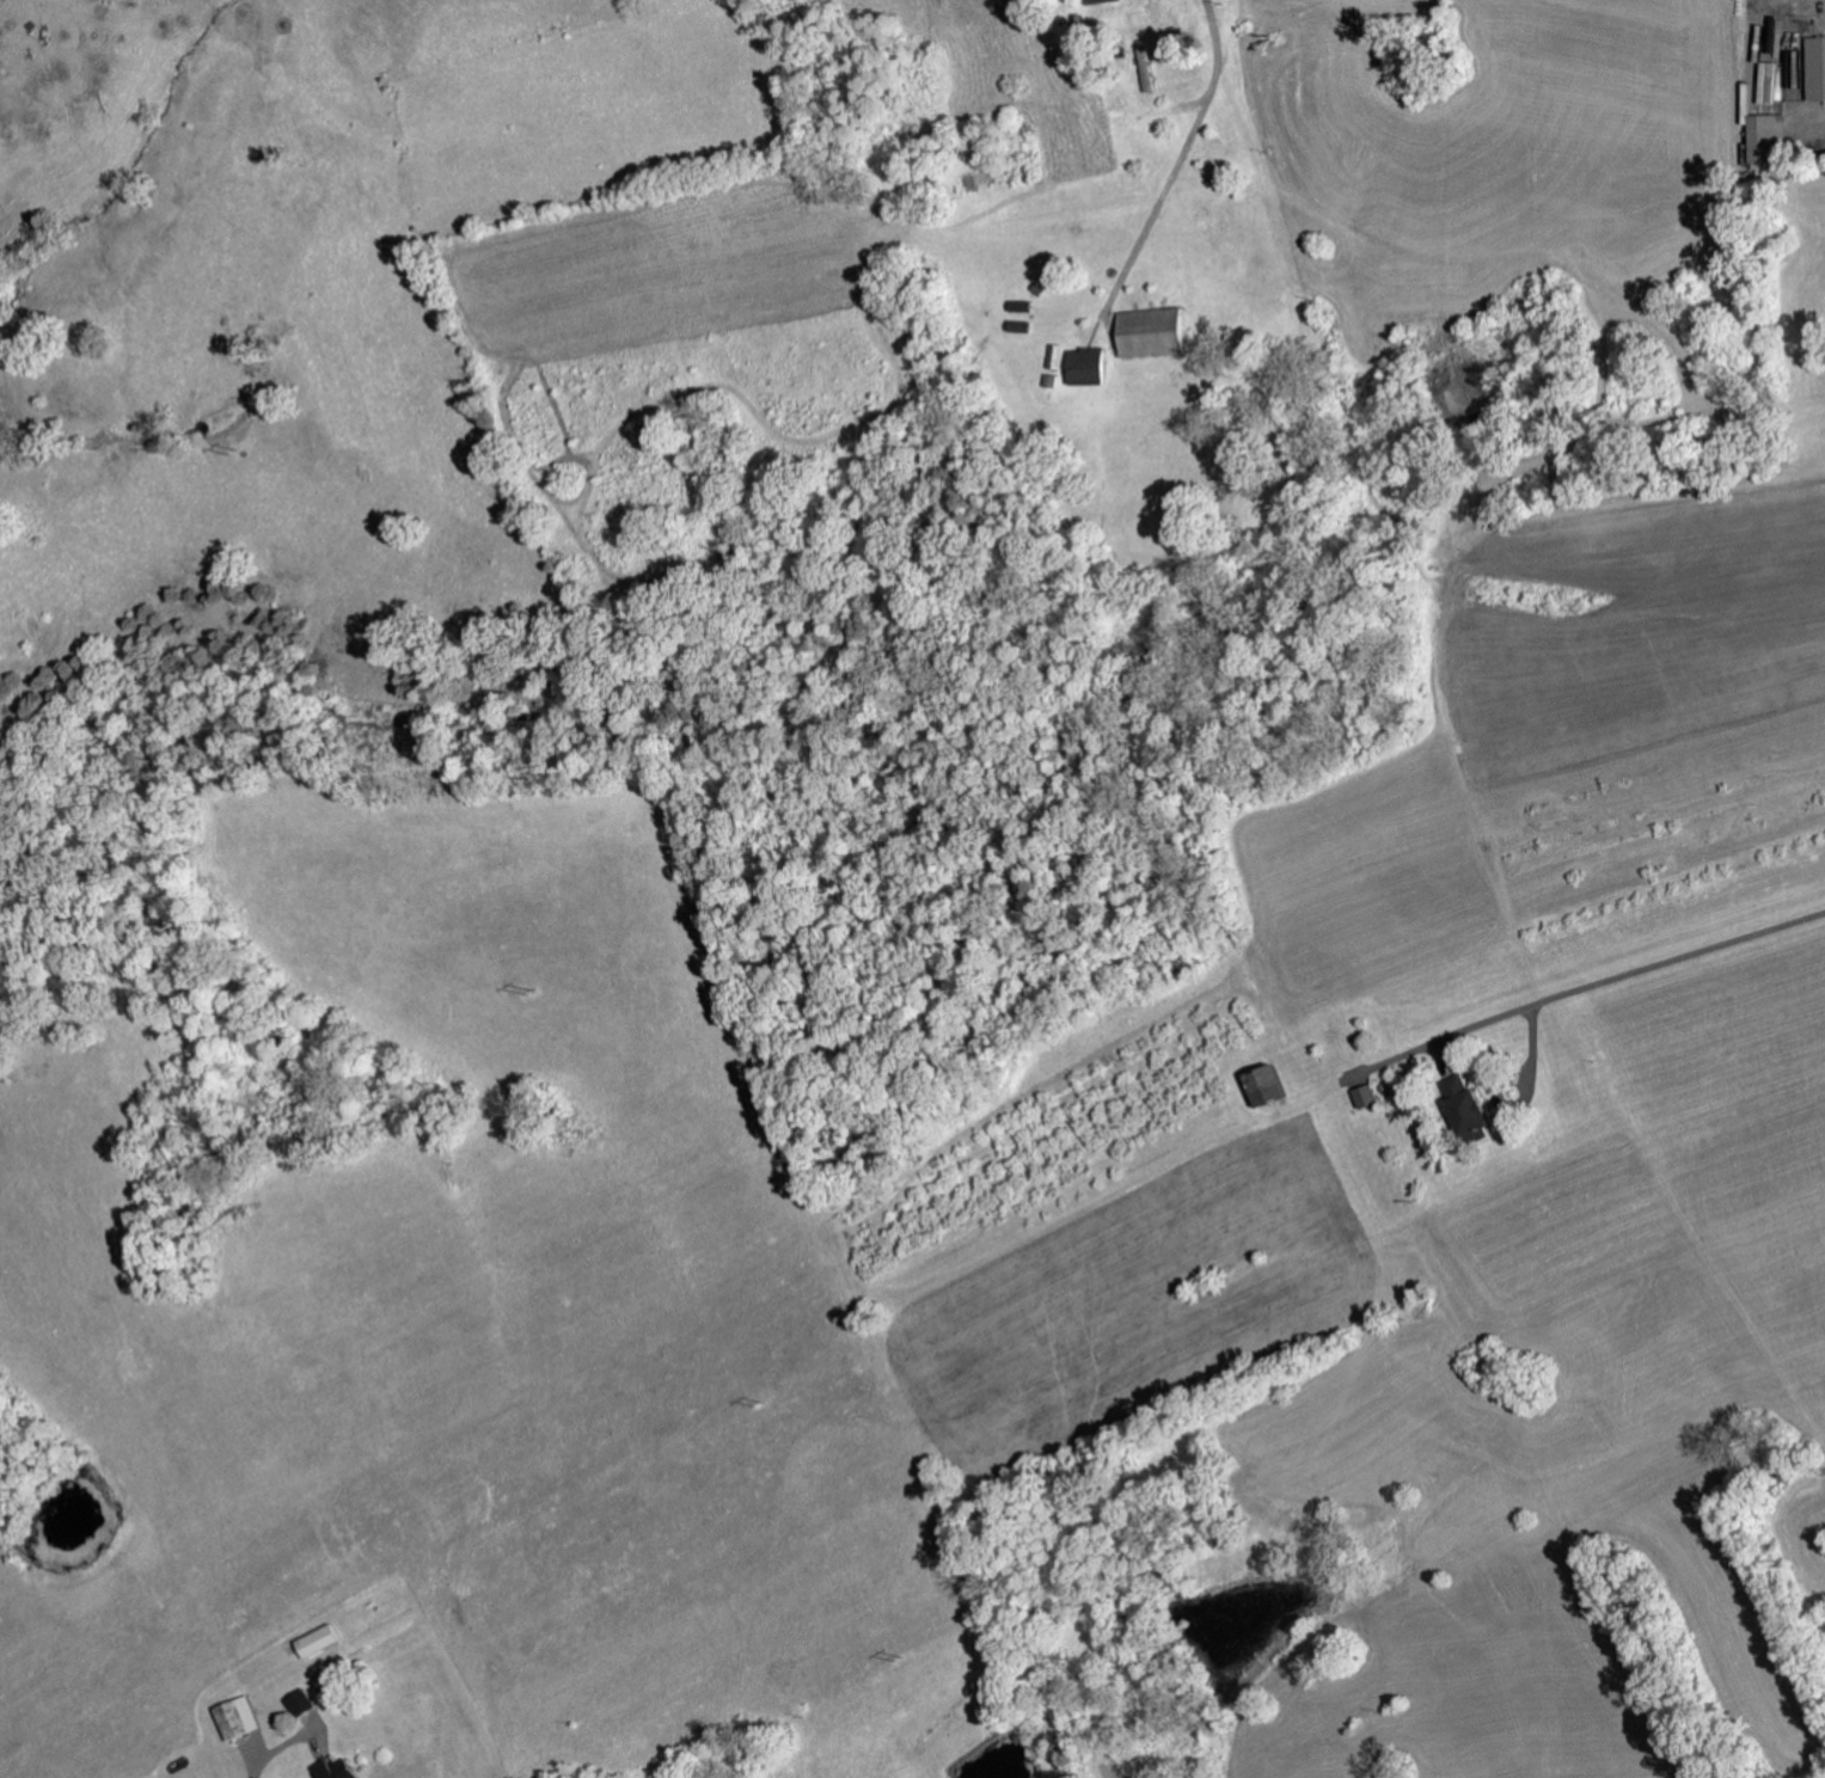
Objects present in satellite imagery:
building: (1091, 0)
building: (1814, 67)
building: (1144, 68)
building: (1764, 82)
building: (1776, 87)
building: (1763, 141)
road: (1189, 153)
building: (1146, 332)
building: (1052, 356)
building: (1083, 366)
road: (1617, 980)
building: (1260, 1084)
building: (1360, 1095)
building: (1460, 1106)
building: (296, 1703)
building: (234, 1717)
road: (268, 1758)
building: (331, 1770)

